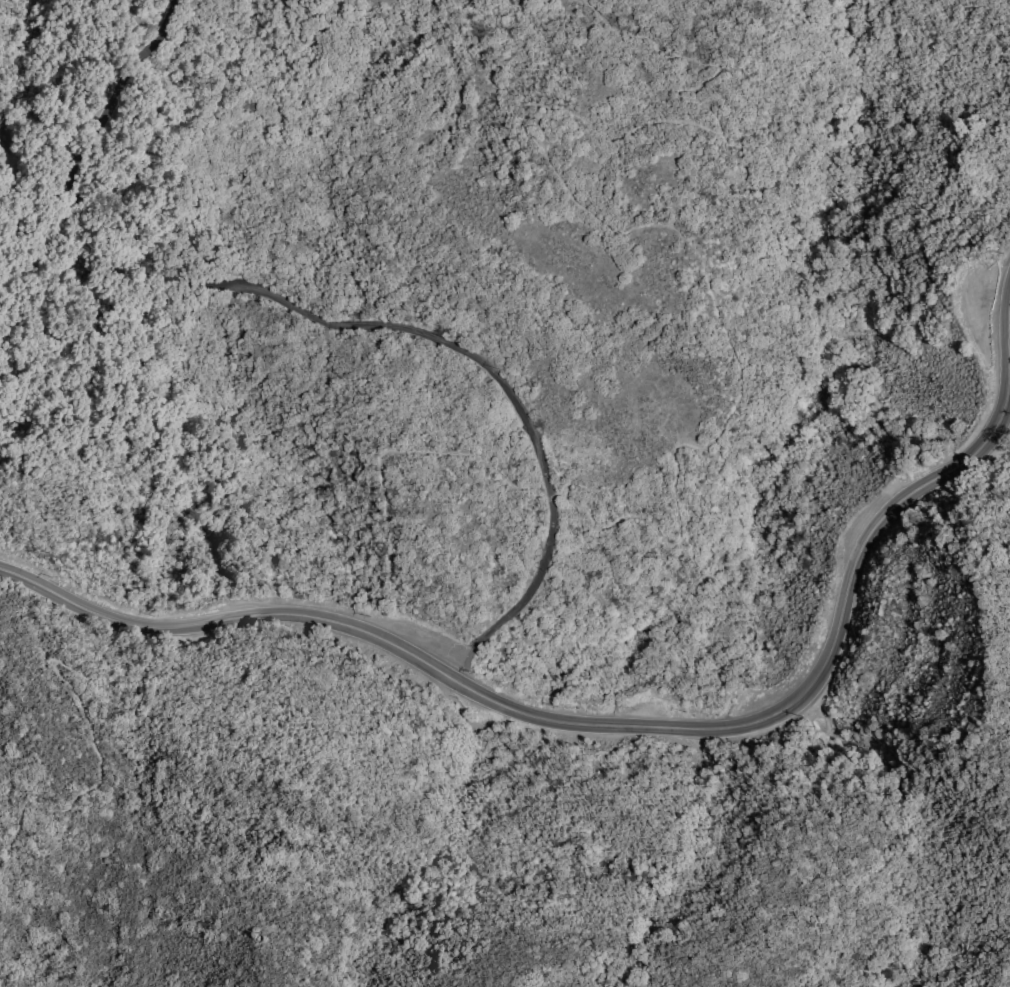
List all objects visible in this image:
road: (641, 37)
road: (638, 227)
road: (339, 325)
road: (380, 457)
road: (61, 665)
road: (629, 726)

